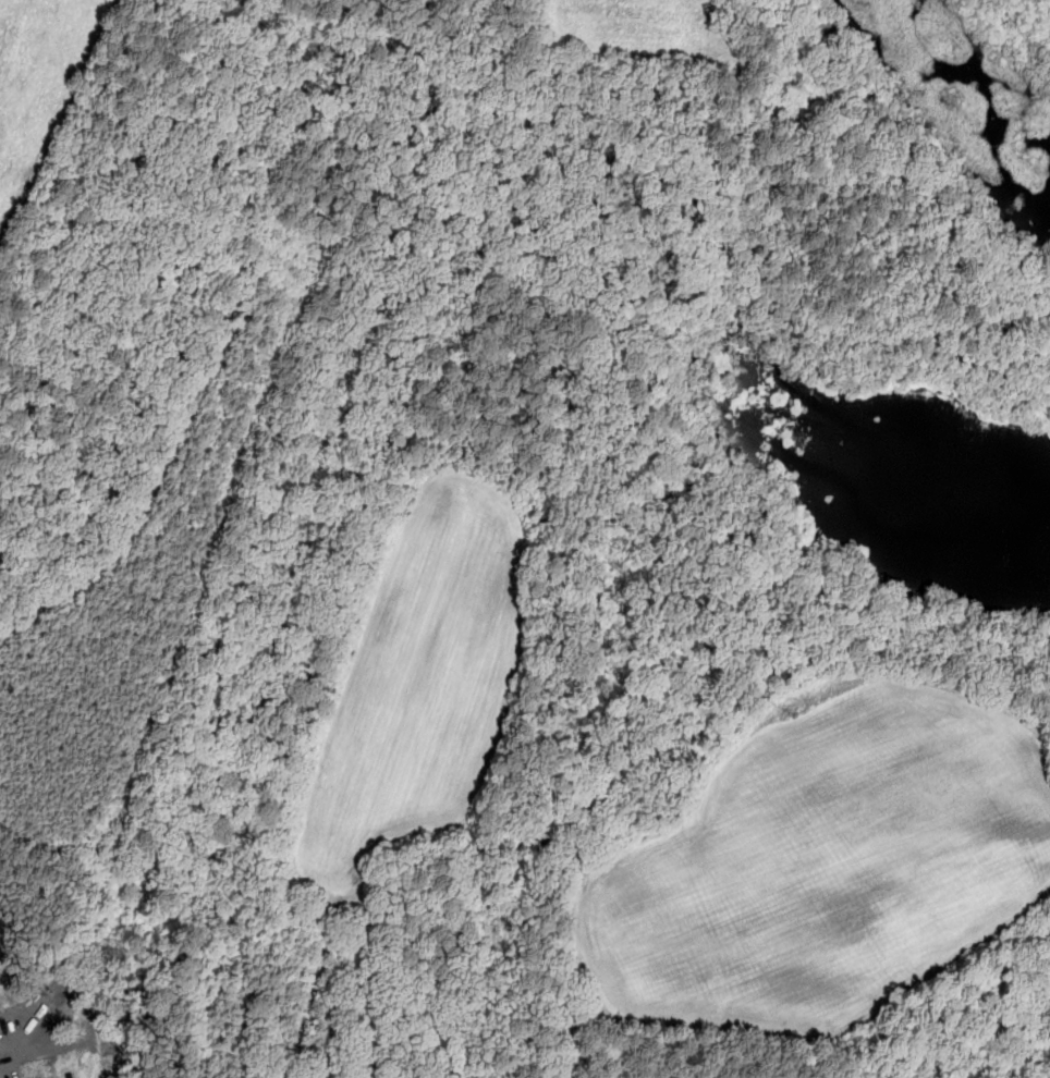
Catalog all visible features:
road: (570, 474)
building: (41, 999)
building: (0, 1034)
road: (1, 1048)
road: (1033, 1070)

